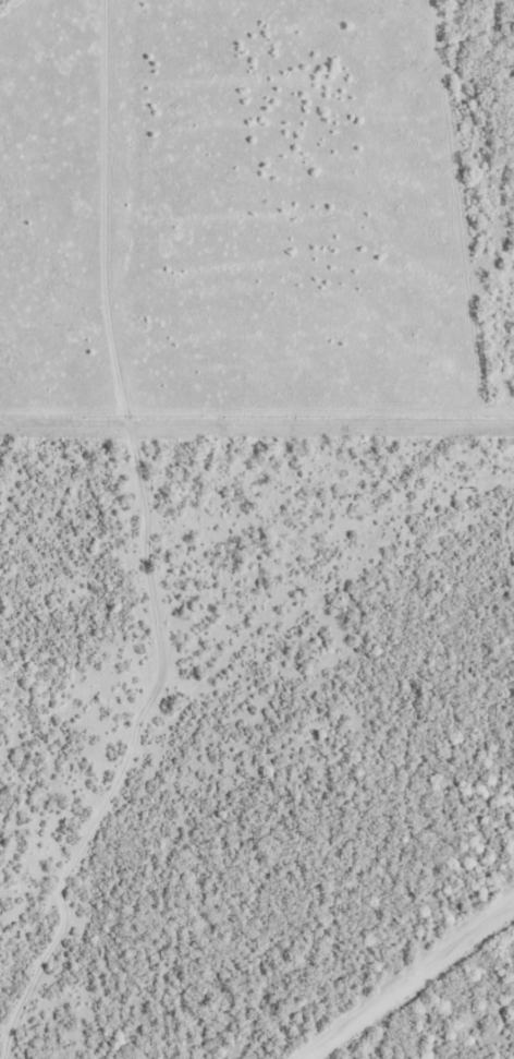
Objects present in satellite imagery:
road: (408, 978)

